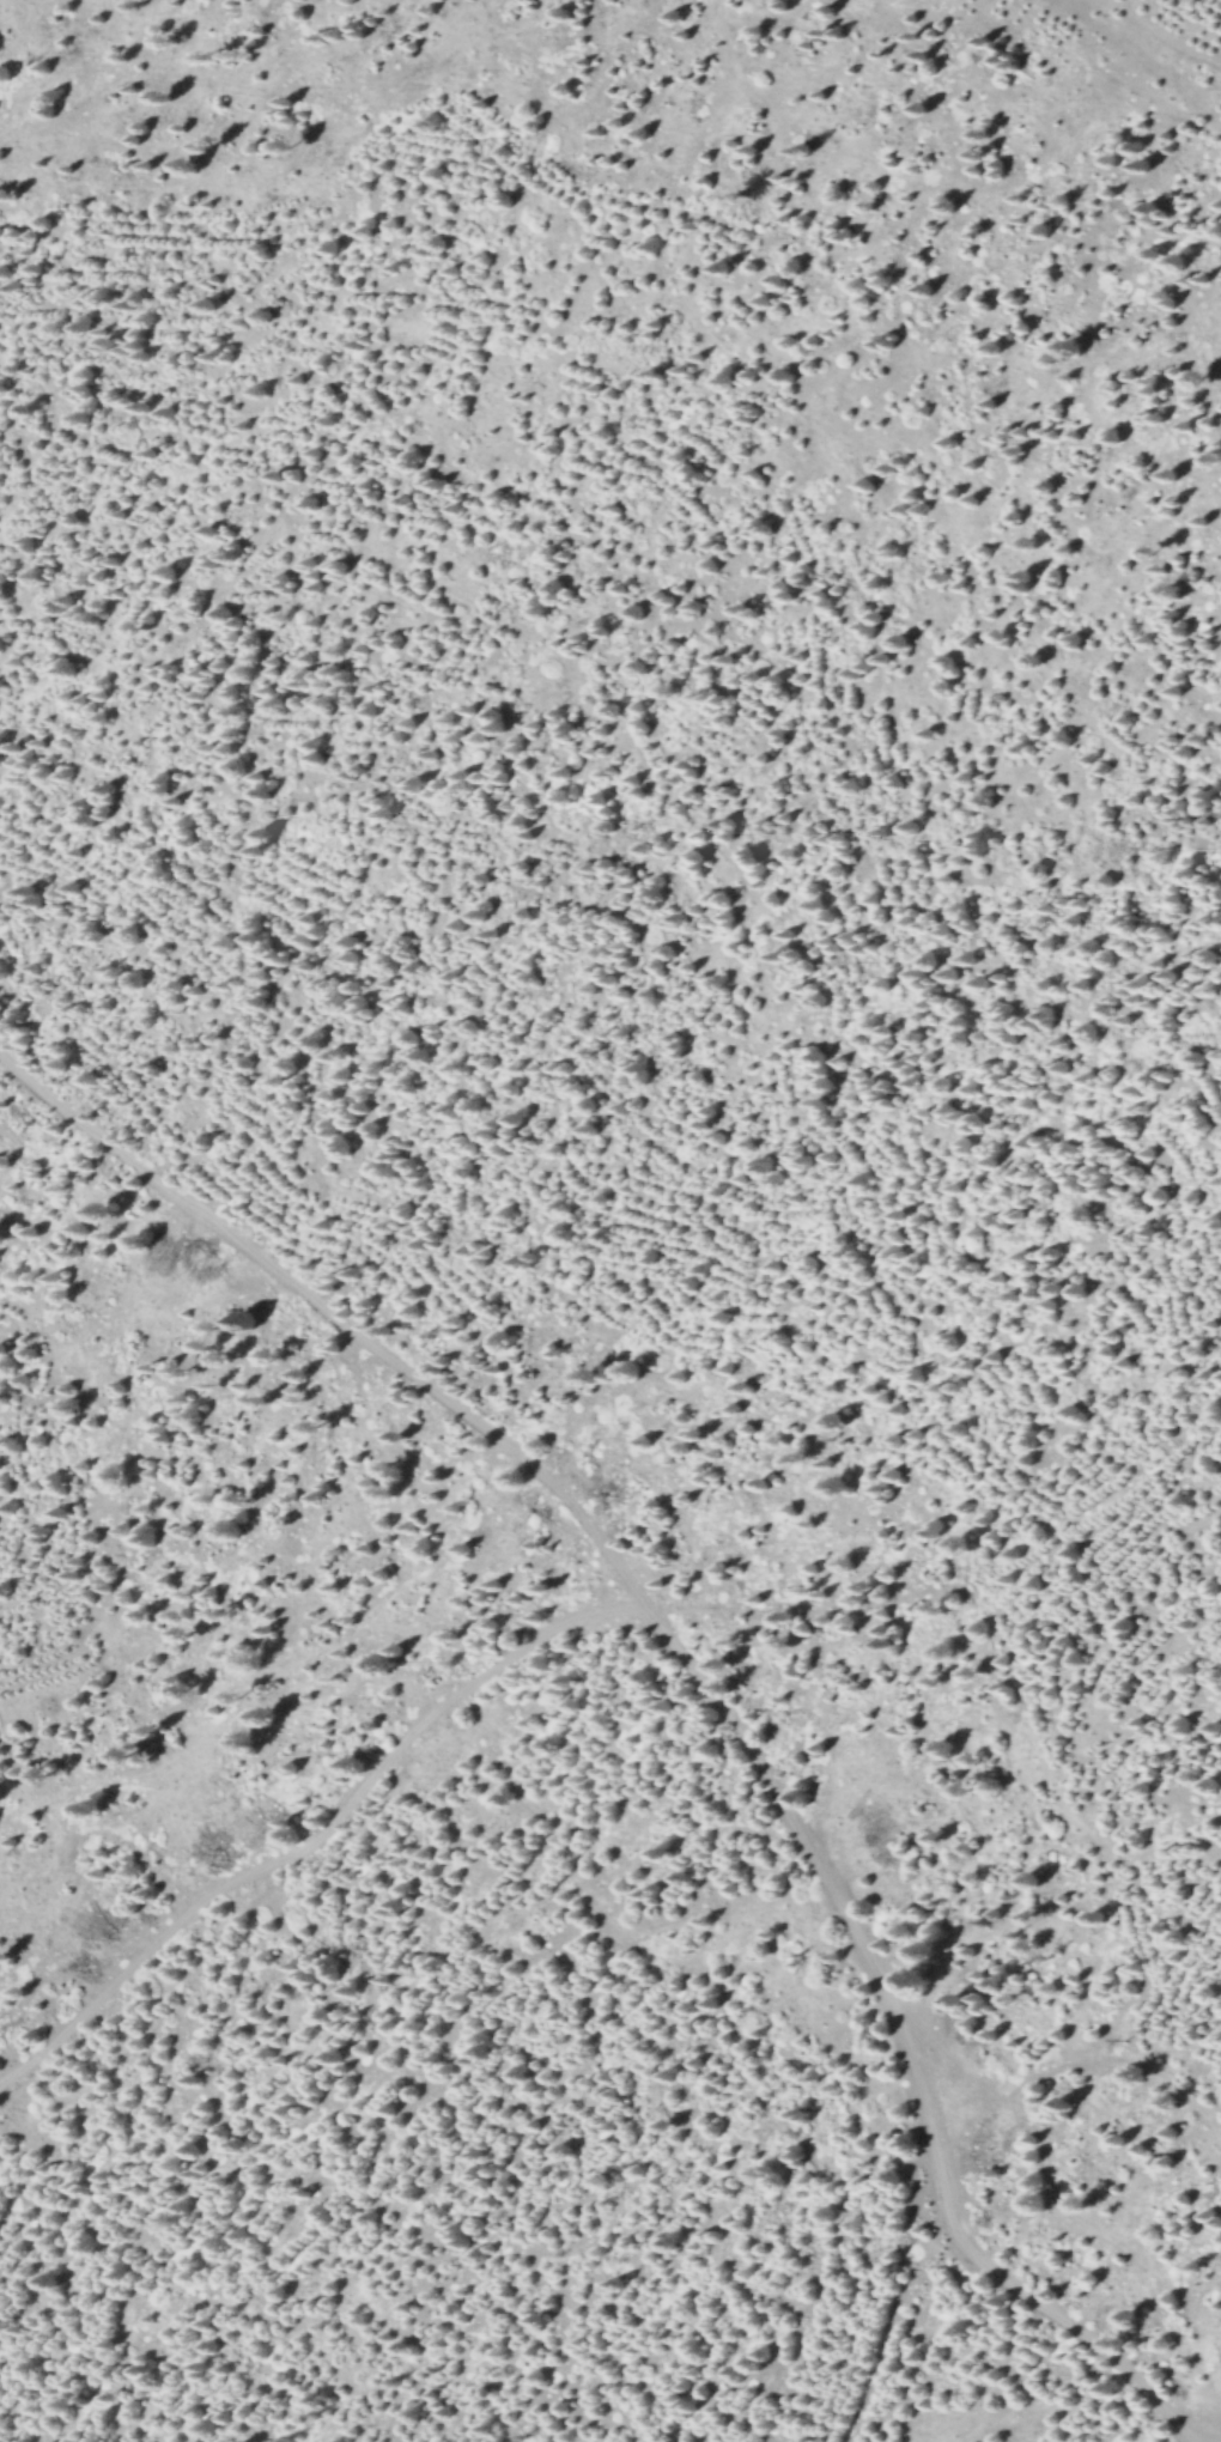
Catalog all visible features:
road: (381, 1251)
road: (709, 1695)
road: (1216, 2438)

